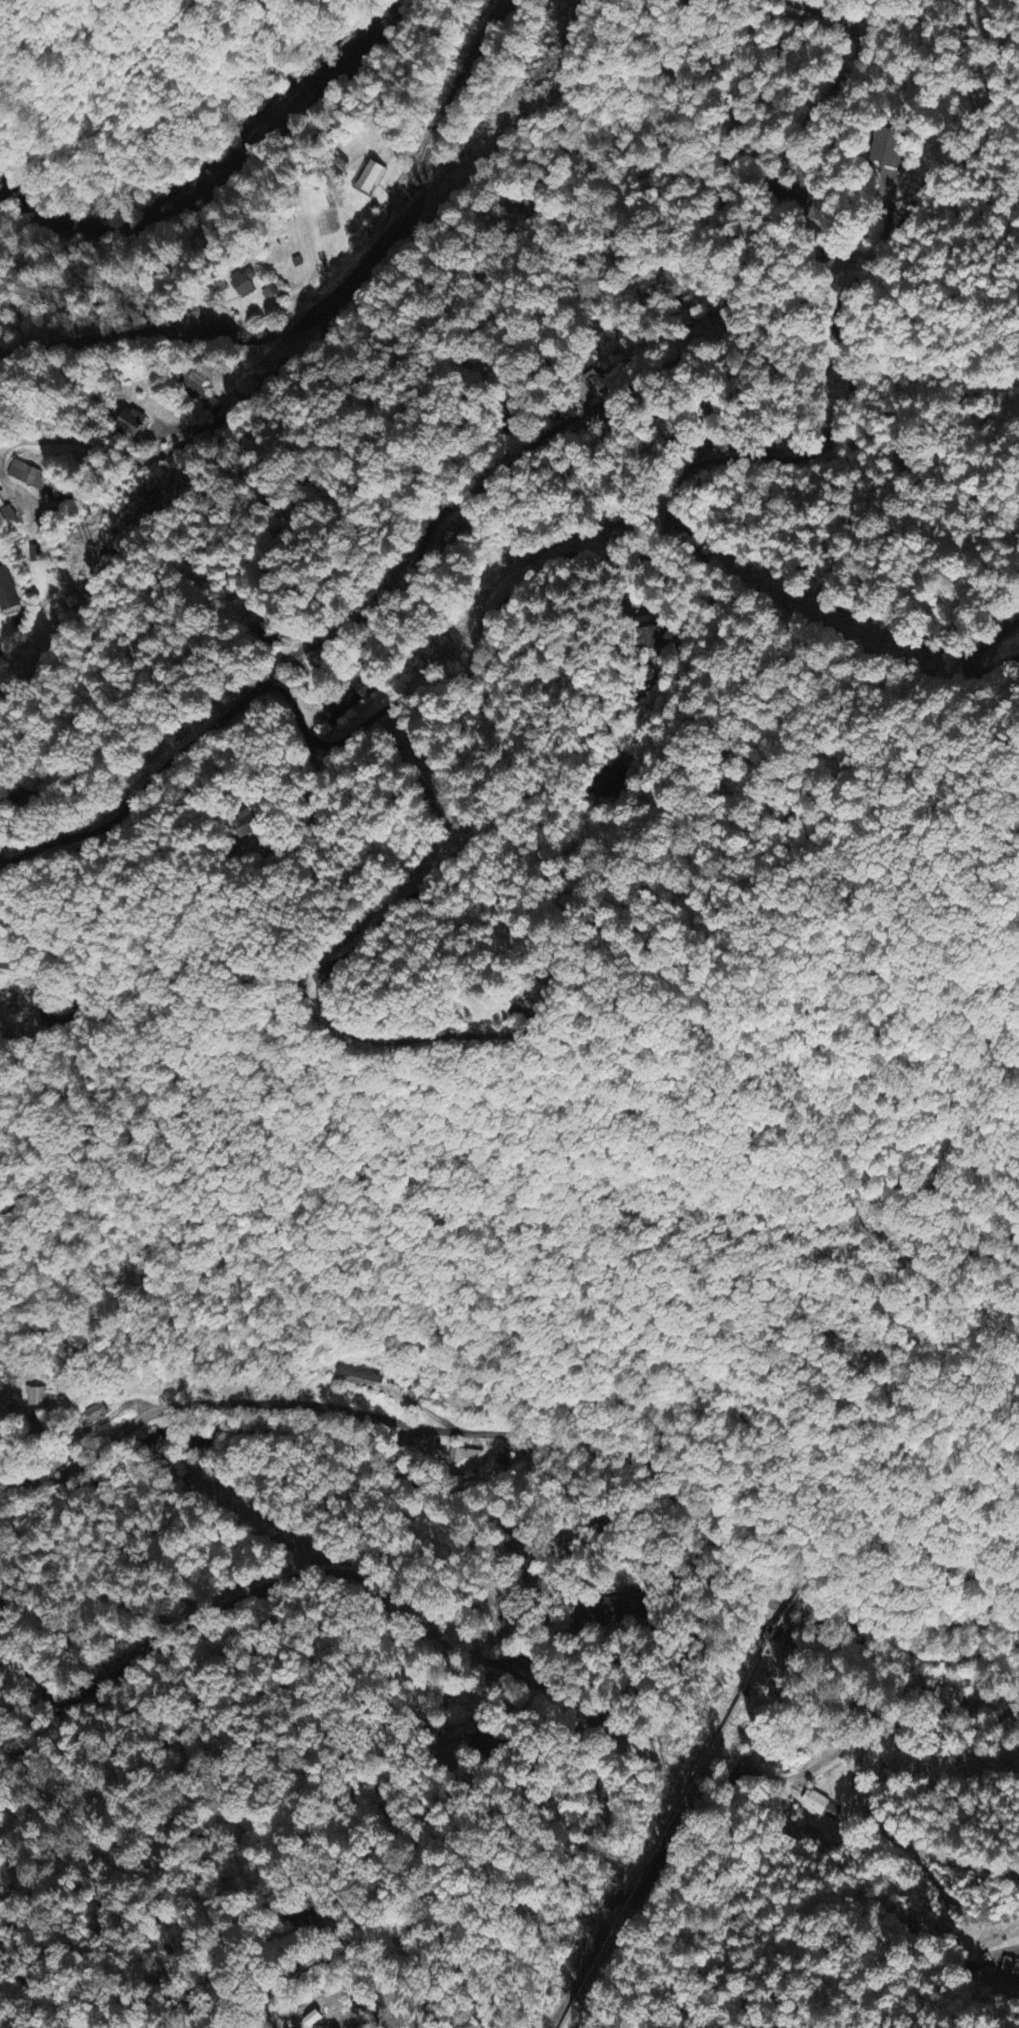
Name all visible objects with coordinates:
building: (887, 149)
river: (228, 173)
building: (367, 175)
building: (243, 285)
building: (268, 295)
road: (337, 300)
building: (596, 385)
building: (195, 393)
road: (588, 410)
building: (129, 424)
road: (194, 437)
building: (33, 480)
building: (7, 517)
building: (34, 556)
road: (599, 561)
building: (6, 595)
building: (649, 637)
road: (971, 660)
building: (350, 700)
building: (245, 826)
road: (477, 842)
road: (76, 1000)
building: (358, 1378)
building: (34, 1399)
road: (415, 1405)
building: (94, 1415)
road: (521, 1442)
building: (465, 1461)
road: (109, 1500)
road: (67, 1551)
road: (312, 1575)
building: (623, 1607)
building: (946, 1699)
building: (820, 1808)
road: (324, 1957)
building: (311, 2021)

